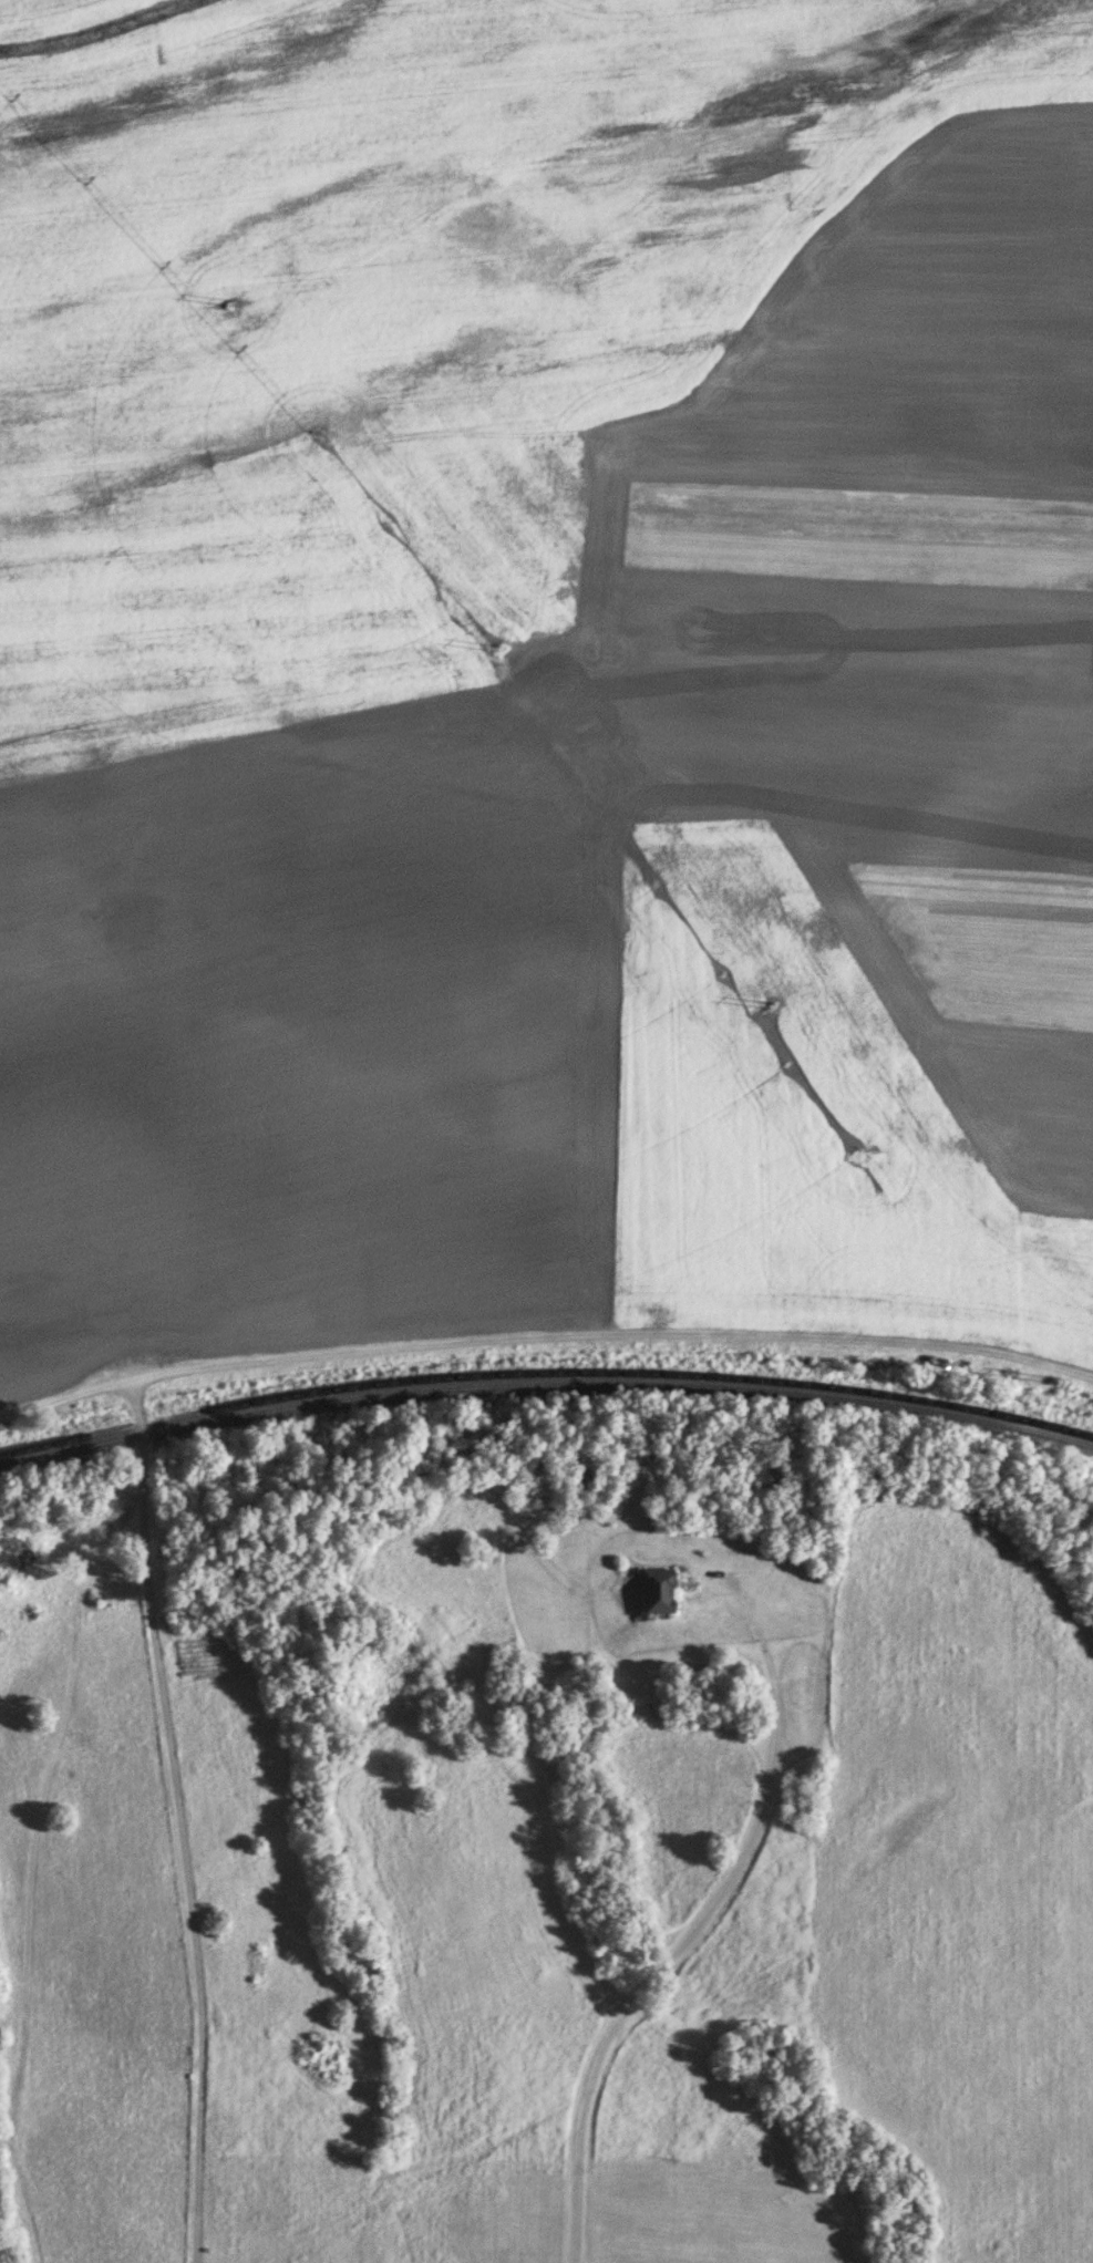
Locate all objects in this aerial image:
railway: (545, 1372)
railway: (545, 1382)
building: (664, 1590)
road: (42, 1816)
road: (674, 1947)

